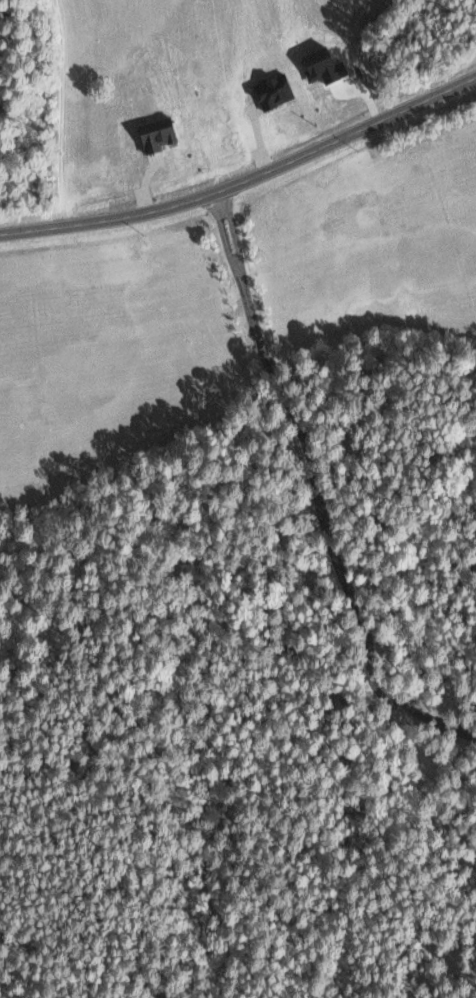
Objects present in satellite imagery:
road: (245, 181)
road: (312, 471)

